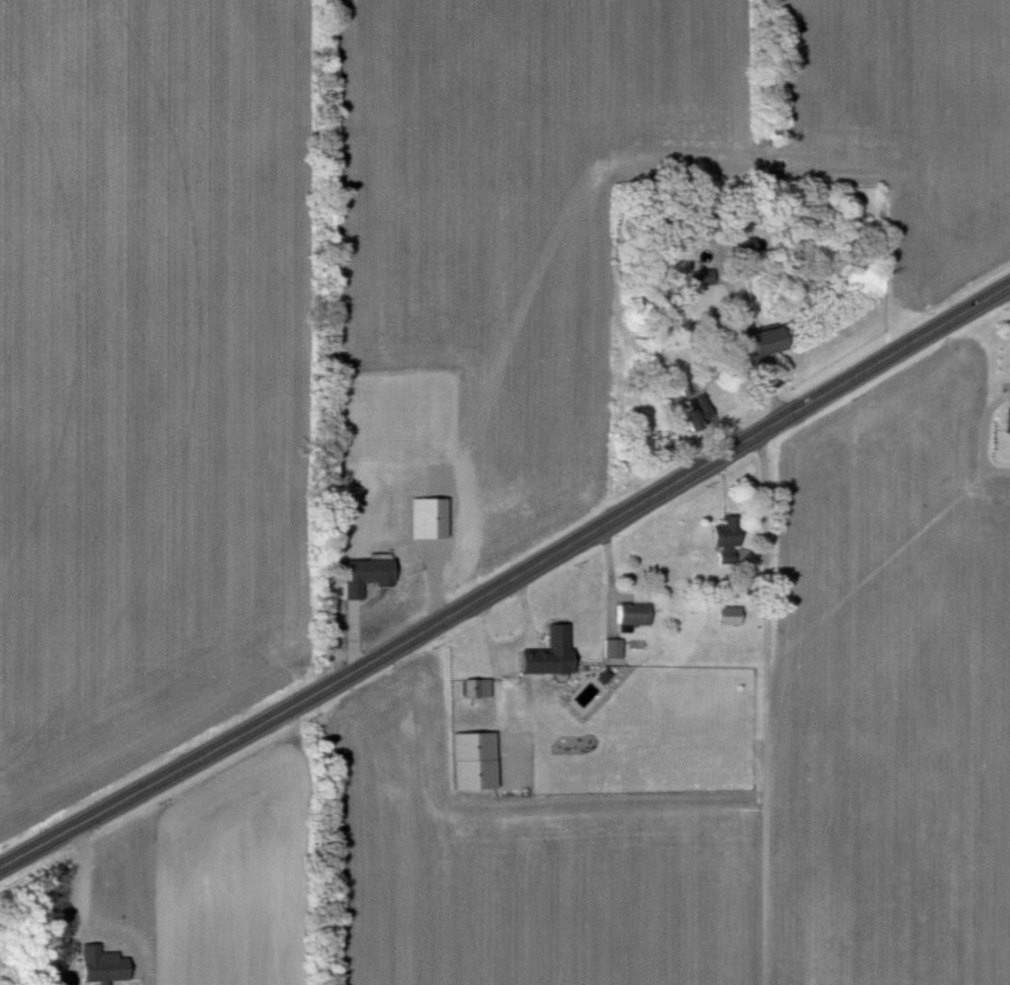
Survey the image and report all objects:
building: (746, 246)
building: (709, 277)
building: (734, 338)
building: (771, 340)
building: (699, 413)
building: (1009, 422)
road: (986, 433)
road: (762, 498)
building: (728, 539)
road: (507, 580)
building: (636, 614)
building: (731, 616)
building: (560, 636)
building: (614, 648)
building: (586, 678)
building: (511, 686)
building: (478, 688)
building: (407, 696)
building: (451, 731)
road: (85, 882)

